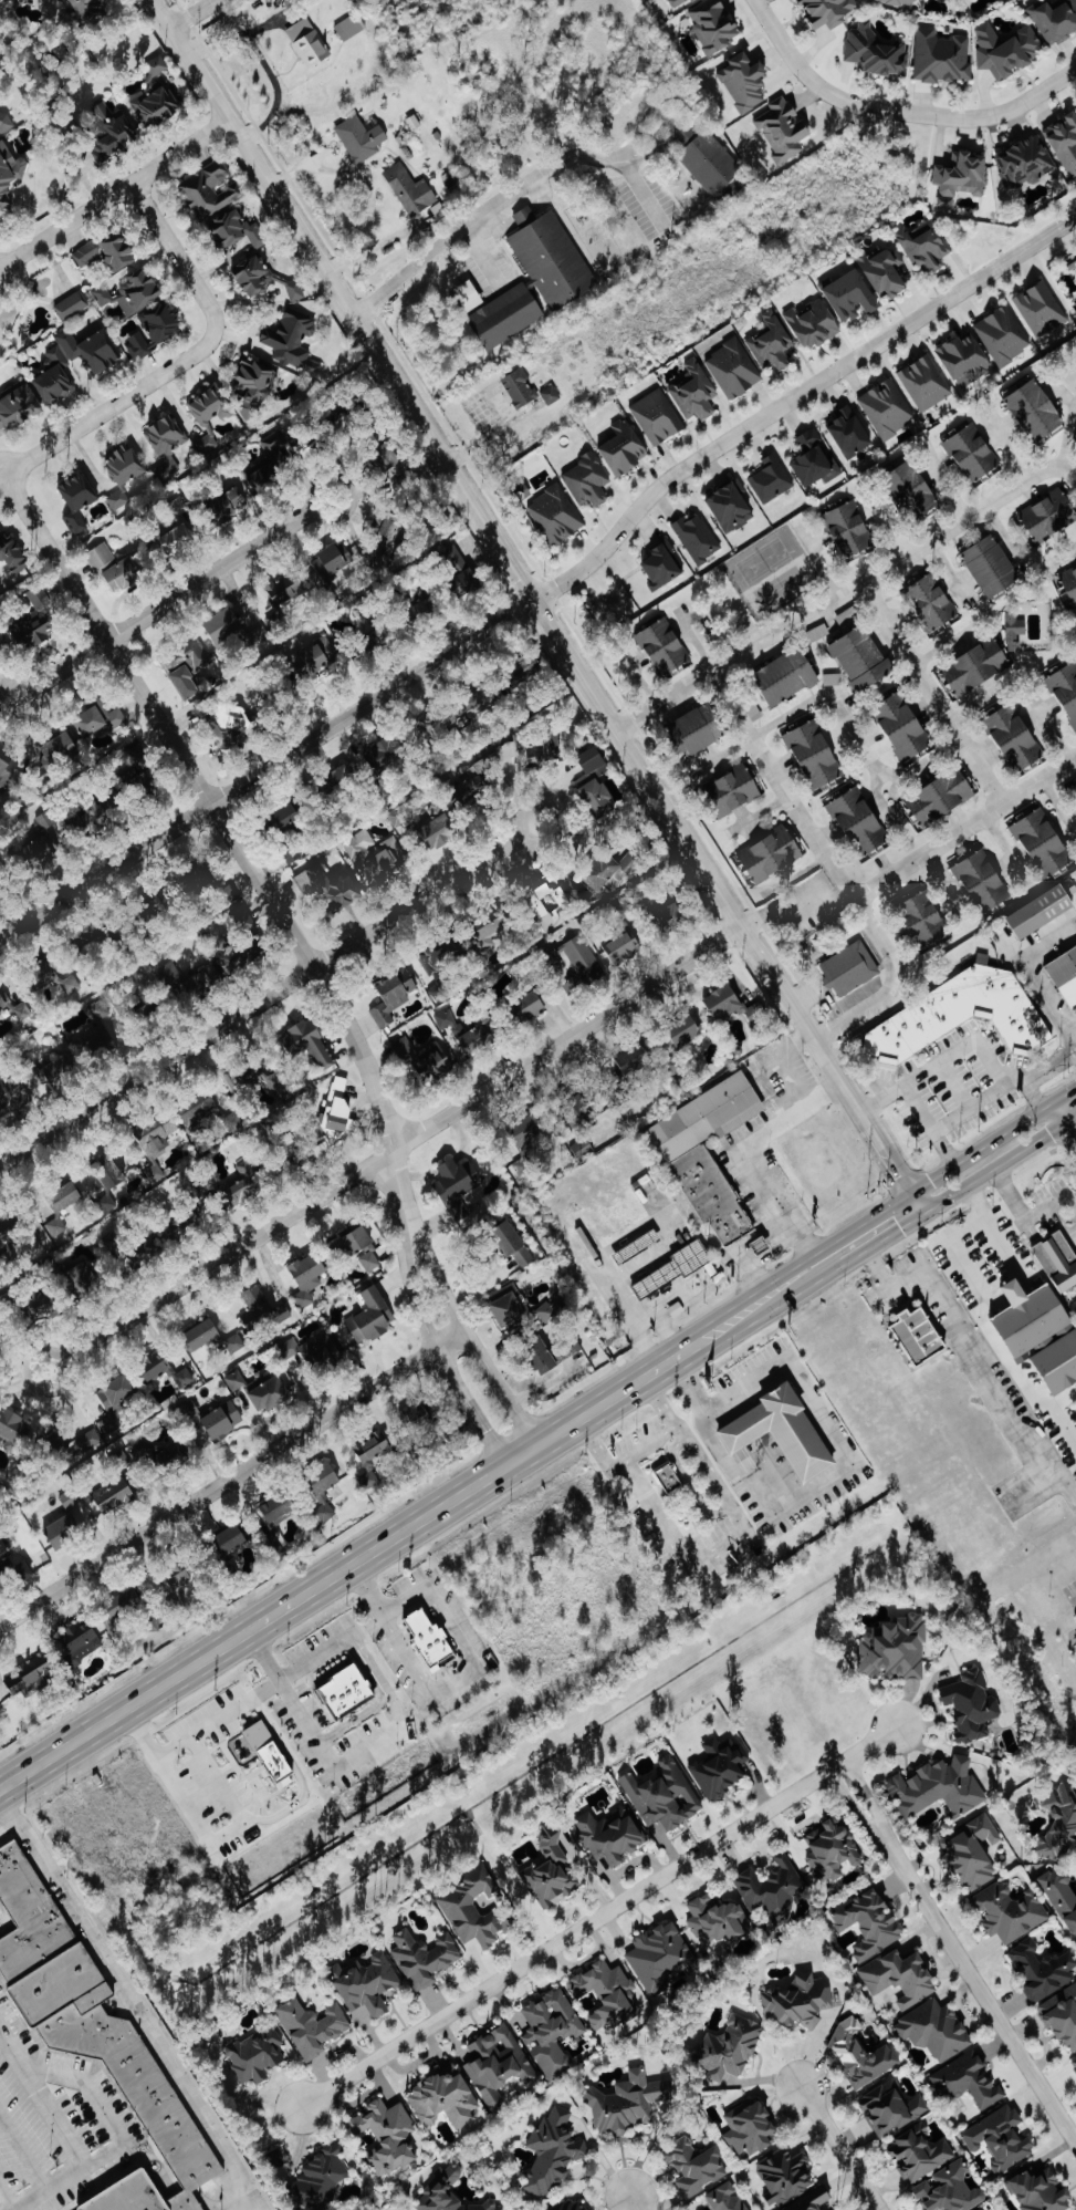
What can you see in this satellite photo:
building: (928, 0)
building: (681, 2)
building: (87, 9)
building: (830, 11)
road: (191, 13)
building: (1056, 21)
building: (714, 27)
building: (351, 28)
building: (309, 43)
building: (1007, 52)
building: (876, 53)
building: (942, 58)
road: (261, 63)
building: (155, 68)
building: (745, 83)
building: (155, 106)
road: (897, 110)
building: (6, 122)
building: (111, 131)
building: (783, 131)
building: (361, 138)
building: (1065, 142)
building: (1026, 163)
building: (710, 166)
building: (10, 174)
building: (961, 177)
building: (210, 190)
building: (414, 193)
road: (113, 194)
road: (524, 216)
road: (460, 229)
building: (237, 231)
building: (924, 245)
building: (111, 252)
building: (1072, 262)
building: (886, 272)
building: (254, 278)
building: (526, 283)
building: (295, 291)
building: (132, 293)
building: (853, 295)
building: (72, 307)
building: (1042, 309)
building: (164, 323)
building: (814, 323)
building: (1003, 335)
building: (293, 341)
building: (773, 342)
building: (138, 346)
building: (93, 351)
road: (182, 359)
building: (964, 359)
building: (734, 370)
building: (56, 378)
building: (926, 383)
building: (254, 386)
building: (520, 388)
building: (696, 392)
road: (1063, 394)
building: (552, 395)
road: (796, 398)
building: (212, 406)
building: (19, 408)
building: (888, 408)
building: (1037, 411)
building: (657, 417)
building: (852, 432)
road: (1065, 435)
building: (168, 438)
building: (207, 445)
road: (1005, 445)
building: (626, 448)
building: (973, 453)
building: (814, 460)
building: (272, 463)
building: (126, 466)
road: (1072, 474)
road: (1, 476)
building: (588, 480)
building: (772, 480)
road: (943, 483)
building: (912, 489)
building: (118, 500)
building: (232, 501)
building: (80, 502)
building: (732, 507)
building: (1051, 515)
building: (556, 516)
road: (880, 525)
building: (181, 526)
building: (391, 527)
building: (849, 530)
road: (1005, 536)
building: (698, 538)
building: (13, 553)
road: (1064, 553)
building: (335, 560)
road: (818, 563)
building: (662, 566)
building: (993, 567)
building: (116, 569)
road: (952, 574)
building: (468, 581)
building: (290, 587)
building: (1069, 587)
road: (843, 598)
road: (174, 599)
building: (933, 602)
road: (539, 605)
building: (226, 625)
building: (1015, 632)
road: (691, 639)
building: (665, 647)
road: (943, 647)
building: (2, 650)
building: (317, 657)
building: (863, 658)
building: (532, 666)
building: (978, 666)
building: (187, 667)
building: (788, 675)
road: (636, 677)
building: (1067, 691)
road: (932, 695)
road: (978, 701)
building: (105, 718)
building: (905, 727)
road: (1049, 727)
building: (699, 729)
road: (853, 735)
building: (1016, 736)
building: (60, 750)
building: (387, 754)
building: (519, 755)
building: (816, 755)
road: (720, 757)
building: (593, 766)
building: (8, 767)
road: (267, 768)
building: (476, 779)
building: (1074, 786)
building: (735, 790)
building: (598, 798)
road: (877, 798)
building: (940, 799)
road: (1058, 803)
road: (756, 813)
building: (400, 816)
building: (291, 817)
building: (860, 820)
building: (438, 826)
road: (963, 828)
building: (45, 838)
building: (1044, 841)
road: (233, 843)
building: (359, 843)
road: (1005, 848)
building: (293, 854)
building: (772, 854)
building: (388, 861)
road: (830, 865)
building: (613, 869)
road: (794, 876)
building: (205, 879)
building: (984, 880)
road: (946, 883)
building: (330, 886)
building: (547, 902)
road: (781, 910)
building: (1043, 912)
building: (671, 917)
building: (927, 920)
building: (492, 933)
building: (621, 945)
road: (800, 963)
building: (583, 964)
building: (850, 969)
road: (1027, 971)
building: (173, 974)
building: (1066, 976)
building: (206, 982)
building: (71, 986)
building: (439, 989)
road: (269, 996)
building: (394, 996)
building: (3, 1002)
building: (125, 1004)
building: (734, 1005)
building: (531, 1006)
building: (22, 1011)
building: (964, 1015)
building: (449, 1021)
building: (687, 1031)
building: (482, 1036)
building: (310, 1042)
road: (969, 1042)
road: (1069, 1044)
building: (424, 1059)
building: (635, 1059)
road: (783, 1061)
road: (1052, 1064)
building: (56, 1070)
road: (1028, 1072)
building: (236, 1085)
building: (280, 1085)
traffic signals: (1037, 1089)
road: (886, 1090)
road: (1063, 1096)
building: (12, 1098)
building: (583, 1110)
building: (199, 1113)
road: (1057, 1113)
road: (1070, 1120)
building: (234, 1122)
road: (1070, 1130)
traffic signals: (1048, 1133)
building: (527, 1134)
building: (156, 1142)
building: (583, 1148)
road: (393, 1149)
road: (741, 1150)
building: (710, 1153)
road: (996, 1166)
traffic signals: (903, 1170)
building: (115, 1176)
traffic signals: (929, 1177)
building: (248, 1183)
road: (915, 1184)
building: (458, 1186)
building: (65, 1196)
road: (1028, 1214)
traffic signals: (899, 1228)
road: (882, 1238)
building: (354, 1243)
building: (514, 1245)
road: (758, 1260)
building: (1059, 1260)
building: (370, 1262)
building: (671, 1272)
road: (815, 1275)
building: (309, 1278)
building: (84, 1280)
road: (606, 1280)
road: (779, 1289)
building: (48, 1303)
road: (946, 1306)
building: (519, 1310)
building: (262, 1311)
road: (982, 1316)
building: (370, 1317)
road: (641, 1318)
building: (1033, 1318)
building: (203, 1335)
building: (921, 1336)
building: (236, 1343)
road: (472, 1343)
building: (290, 1349)
building: (324, 1352)
building: (547, 1355)
road: (441, 1358)
building: (1059, 1365)
building: (165, 1371)
road: (649, 1376)
building: (236, 1381)
building: (271, 1394)
road: (1063, 1400)
building: (115, 1407)
building: (192, 1412)
building: (422, 1419)
building: (223, 1421)
building: (12, 1428)
building: (784, 1433)
building: (87, 1444)
road: (835, 1448)
building: (155, 1452)
building: (122, 1459)
road: (232, 1477)
building: (669, 1478)
building: (374, 1481)
road: (483, 1484)
building: (330, 1488)
building: (115, 1496)
building: (280, 1508)
building: (69, 1524)
building: (232, 1540)
road: (717, 1550)
building: (15, 1565)
road: (367, 1588)
building: (122, 1610)
building: (424, 1639)
building: (82, 1649)
building: (896, 1650)
road: (216, 1653)
road: (469, 1672)
road: (269, 1688)
building: (346, 1693)
building: (973, 1704)
road: (380, 1744)
building: (272, 1755)
building: (721, 1767)
road: (227, 1776)
building: (939, 1788)
building: (665, 1796)
road: (873, 1805)
road: (299, 1808)
road: (857, 1815)
building: (1061, 1823)
building: (613, 1836)
building: (834, 1849)
building: (975, 1851)
building: (554, 1870)
building: (772, 1888)
building: (1063, 1896)
building: (477, 1909)
building: (1011, 1911)
road: (600, 1916)
building: (718, 1919)
building: (871, 1922)
building: (659, 1955)
building: (425, 1957)
building: (1043, 1969)
building: (901, 1978)
building: (368, 1982)
building: (607, 1994)
road: (984, 2000)
road: (128, 2001)
building: (798, 2001)
building: (1062, 2015)
building: (313, 2027)
building: (936, 2030)
building: (552, 2031)
building: (95, 2032)
building: (731, 2047)
building: (258, 2054)
building: (863, 2055)
building: (1074, 2063)
building: (498, 2064)
building: (967, 2081)
building: (445, 2098)
building: (629, 2103)
building: (890, 2108)
road: (102, 2109)
building: (752, 2129)
road: (58, 2134)
building: (388, 2136)
building: (1001, 2138)
road: (843, 2147)
building: (554, 2151)
building: (920, 2154)
building: (696, 2167)
building: (786, 2176)
building: (321, 2179)
building: (950, 2190)
building: (96, 2191)
building: (1041, 2191)
building: (449, 2193)
building: (725, 2198)
building: (813, 2200)
road: (637, 2202)
building: (576, 2204)
building: (750, 2209)
building: (981, 2209)

